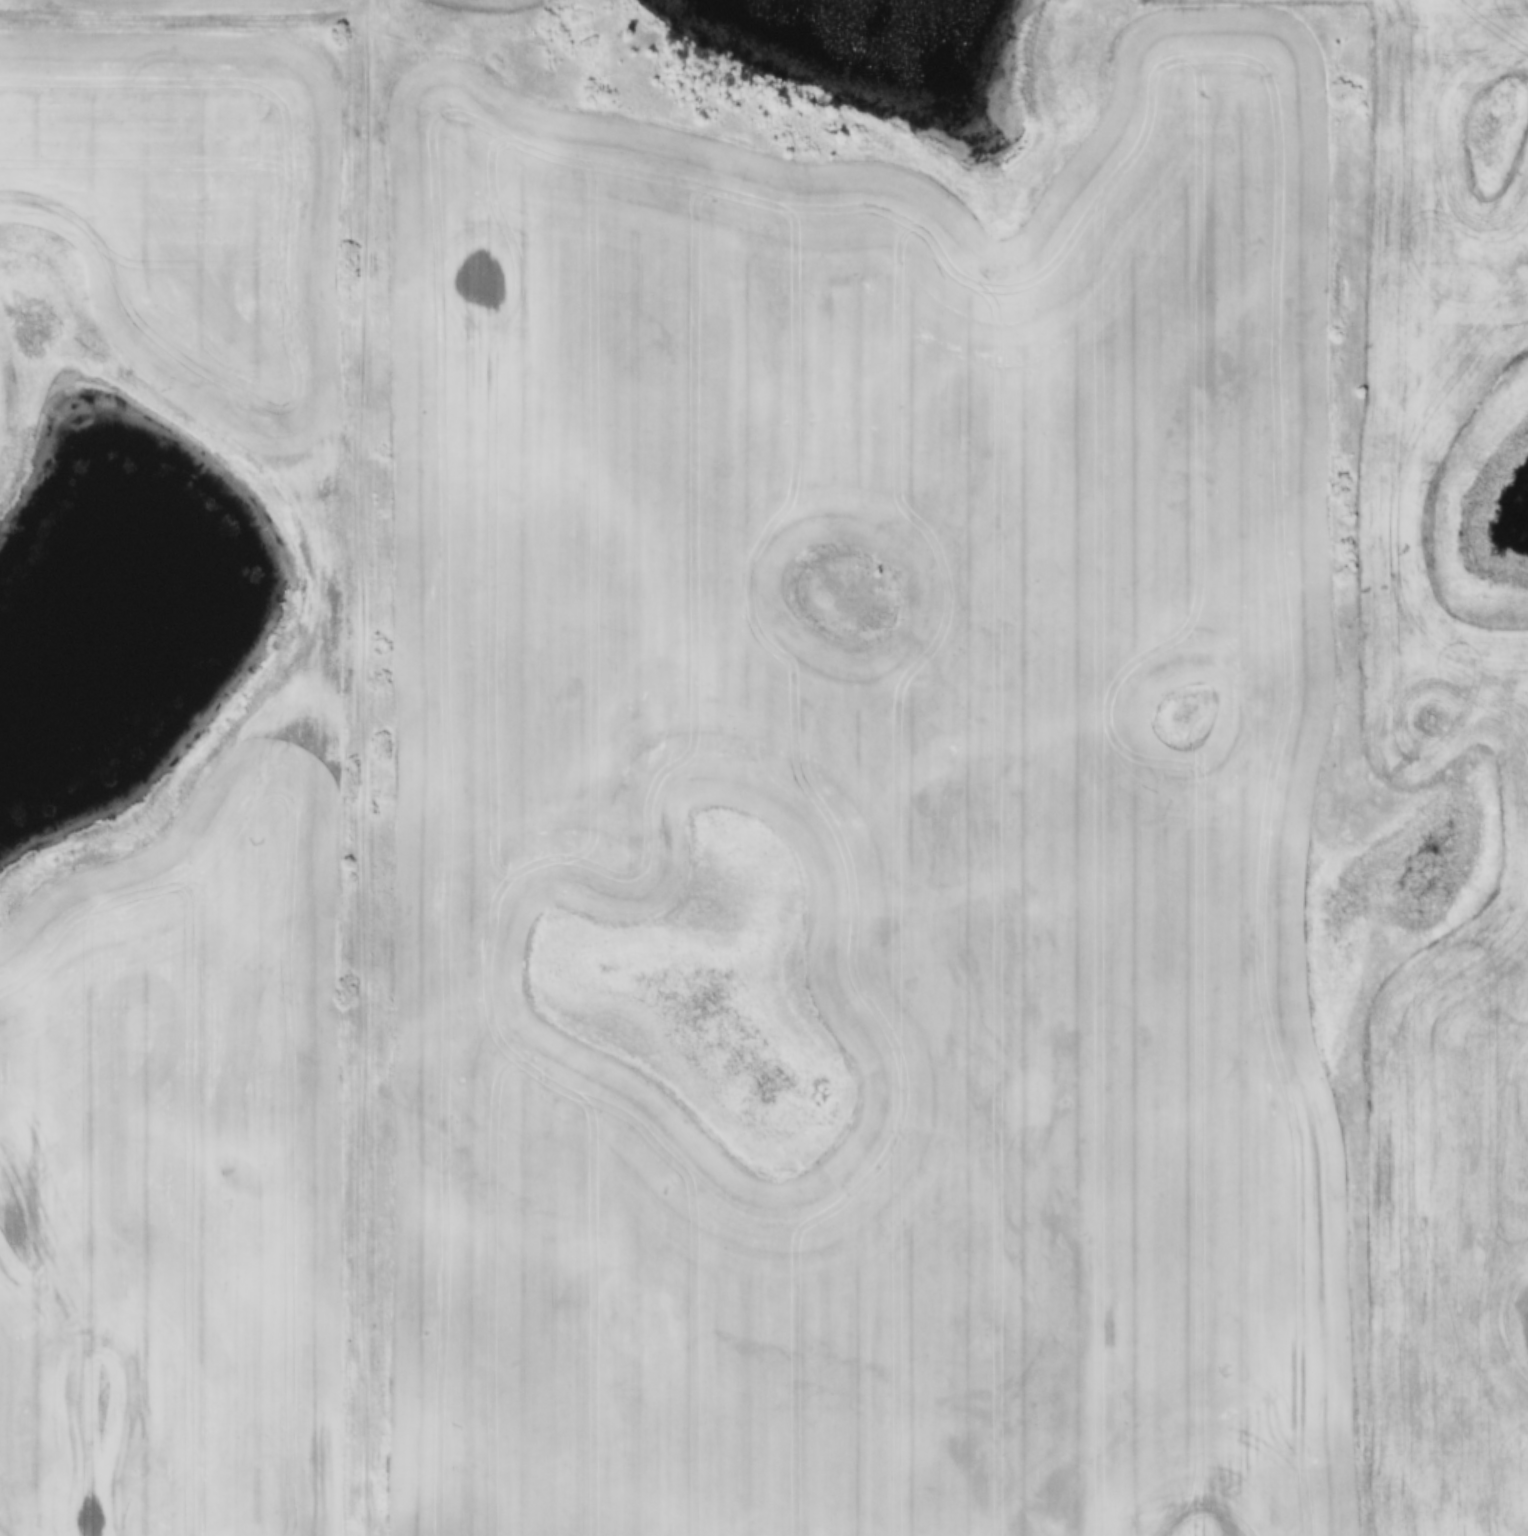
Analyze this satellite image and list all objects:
road: (365, 767)

